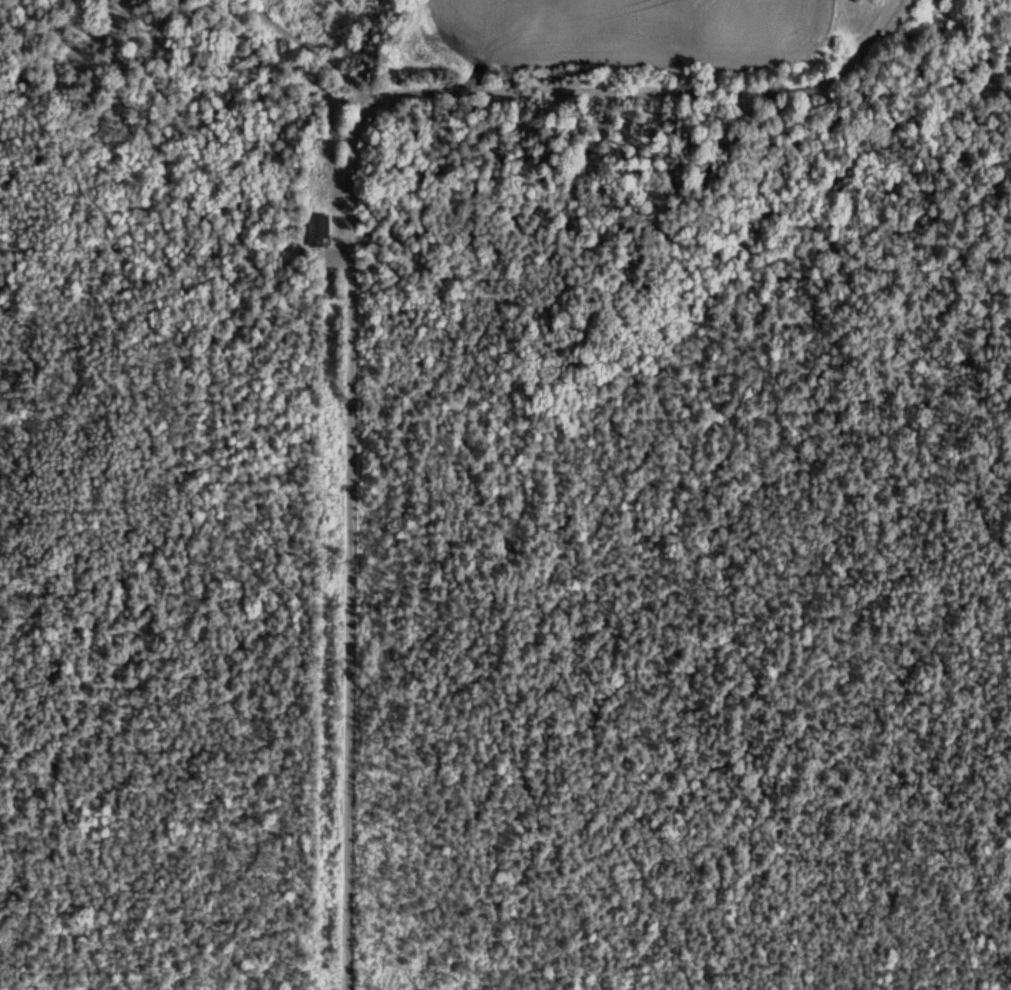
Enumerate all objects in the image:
road: (295, 40)
road: (647, 89)
building: (319, 230)
road: (355, 539)

